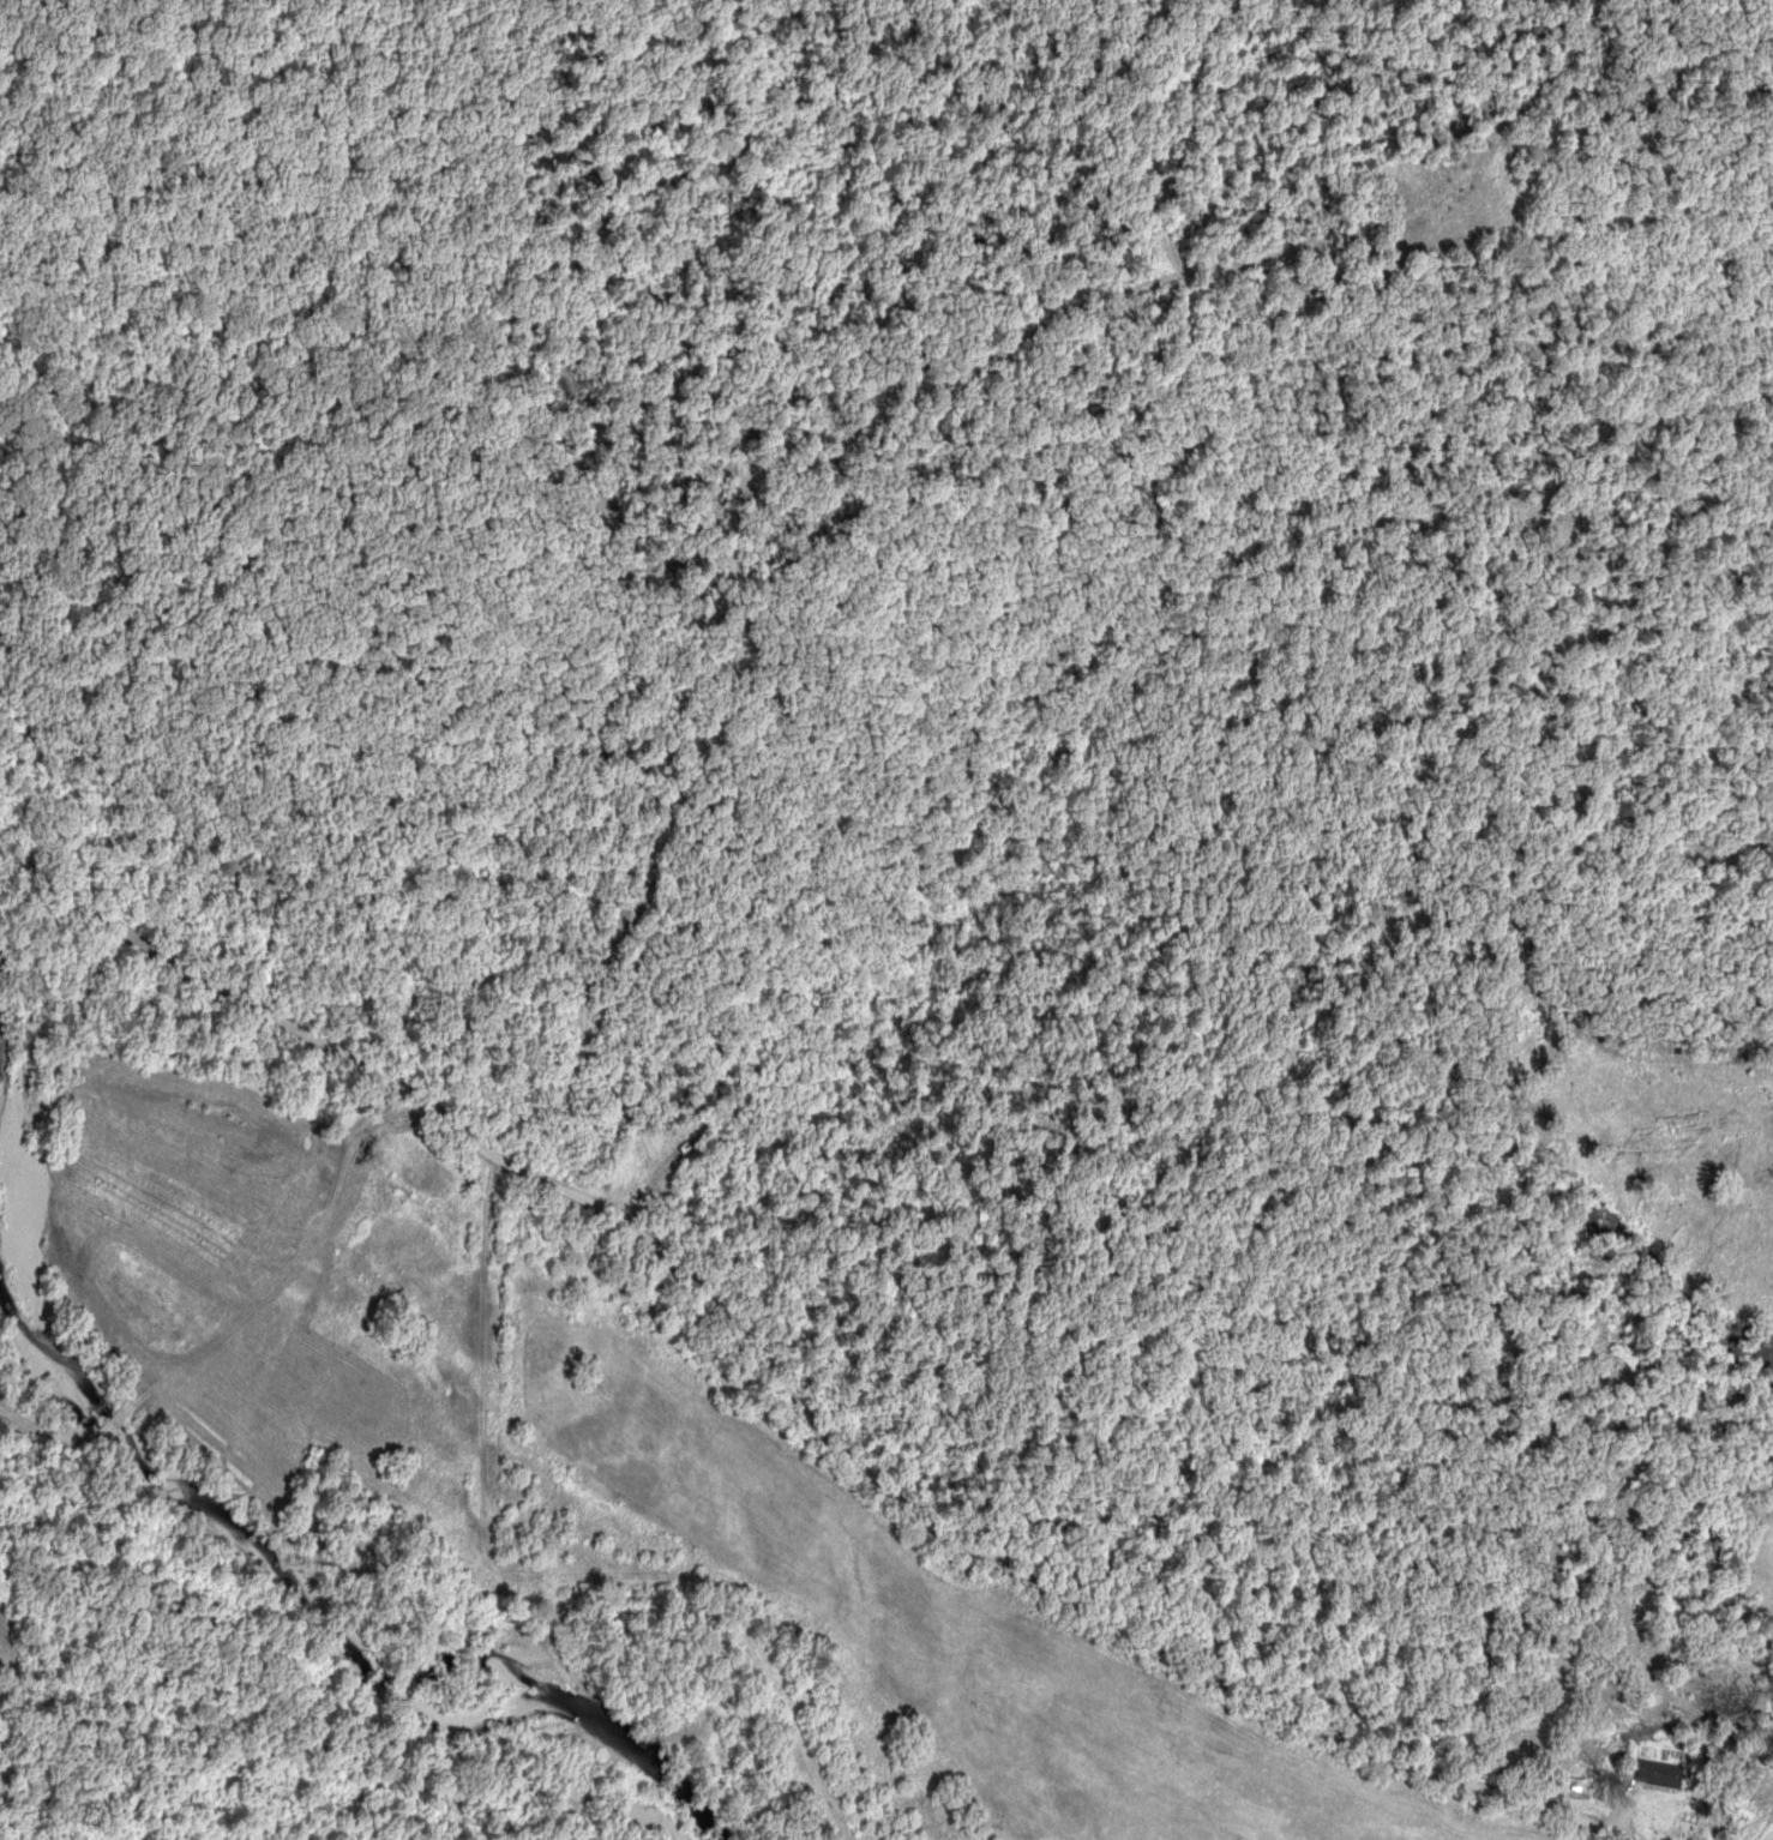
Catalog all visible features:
road: (239, 1322)
road: (791, 1390)
park: (1753, 1561)
building: (1665, 1772)

